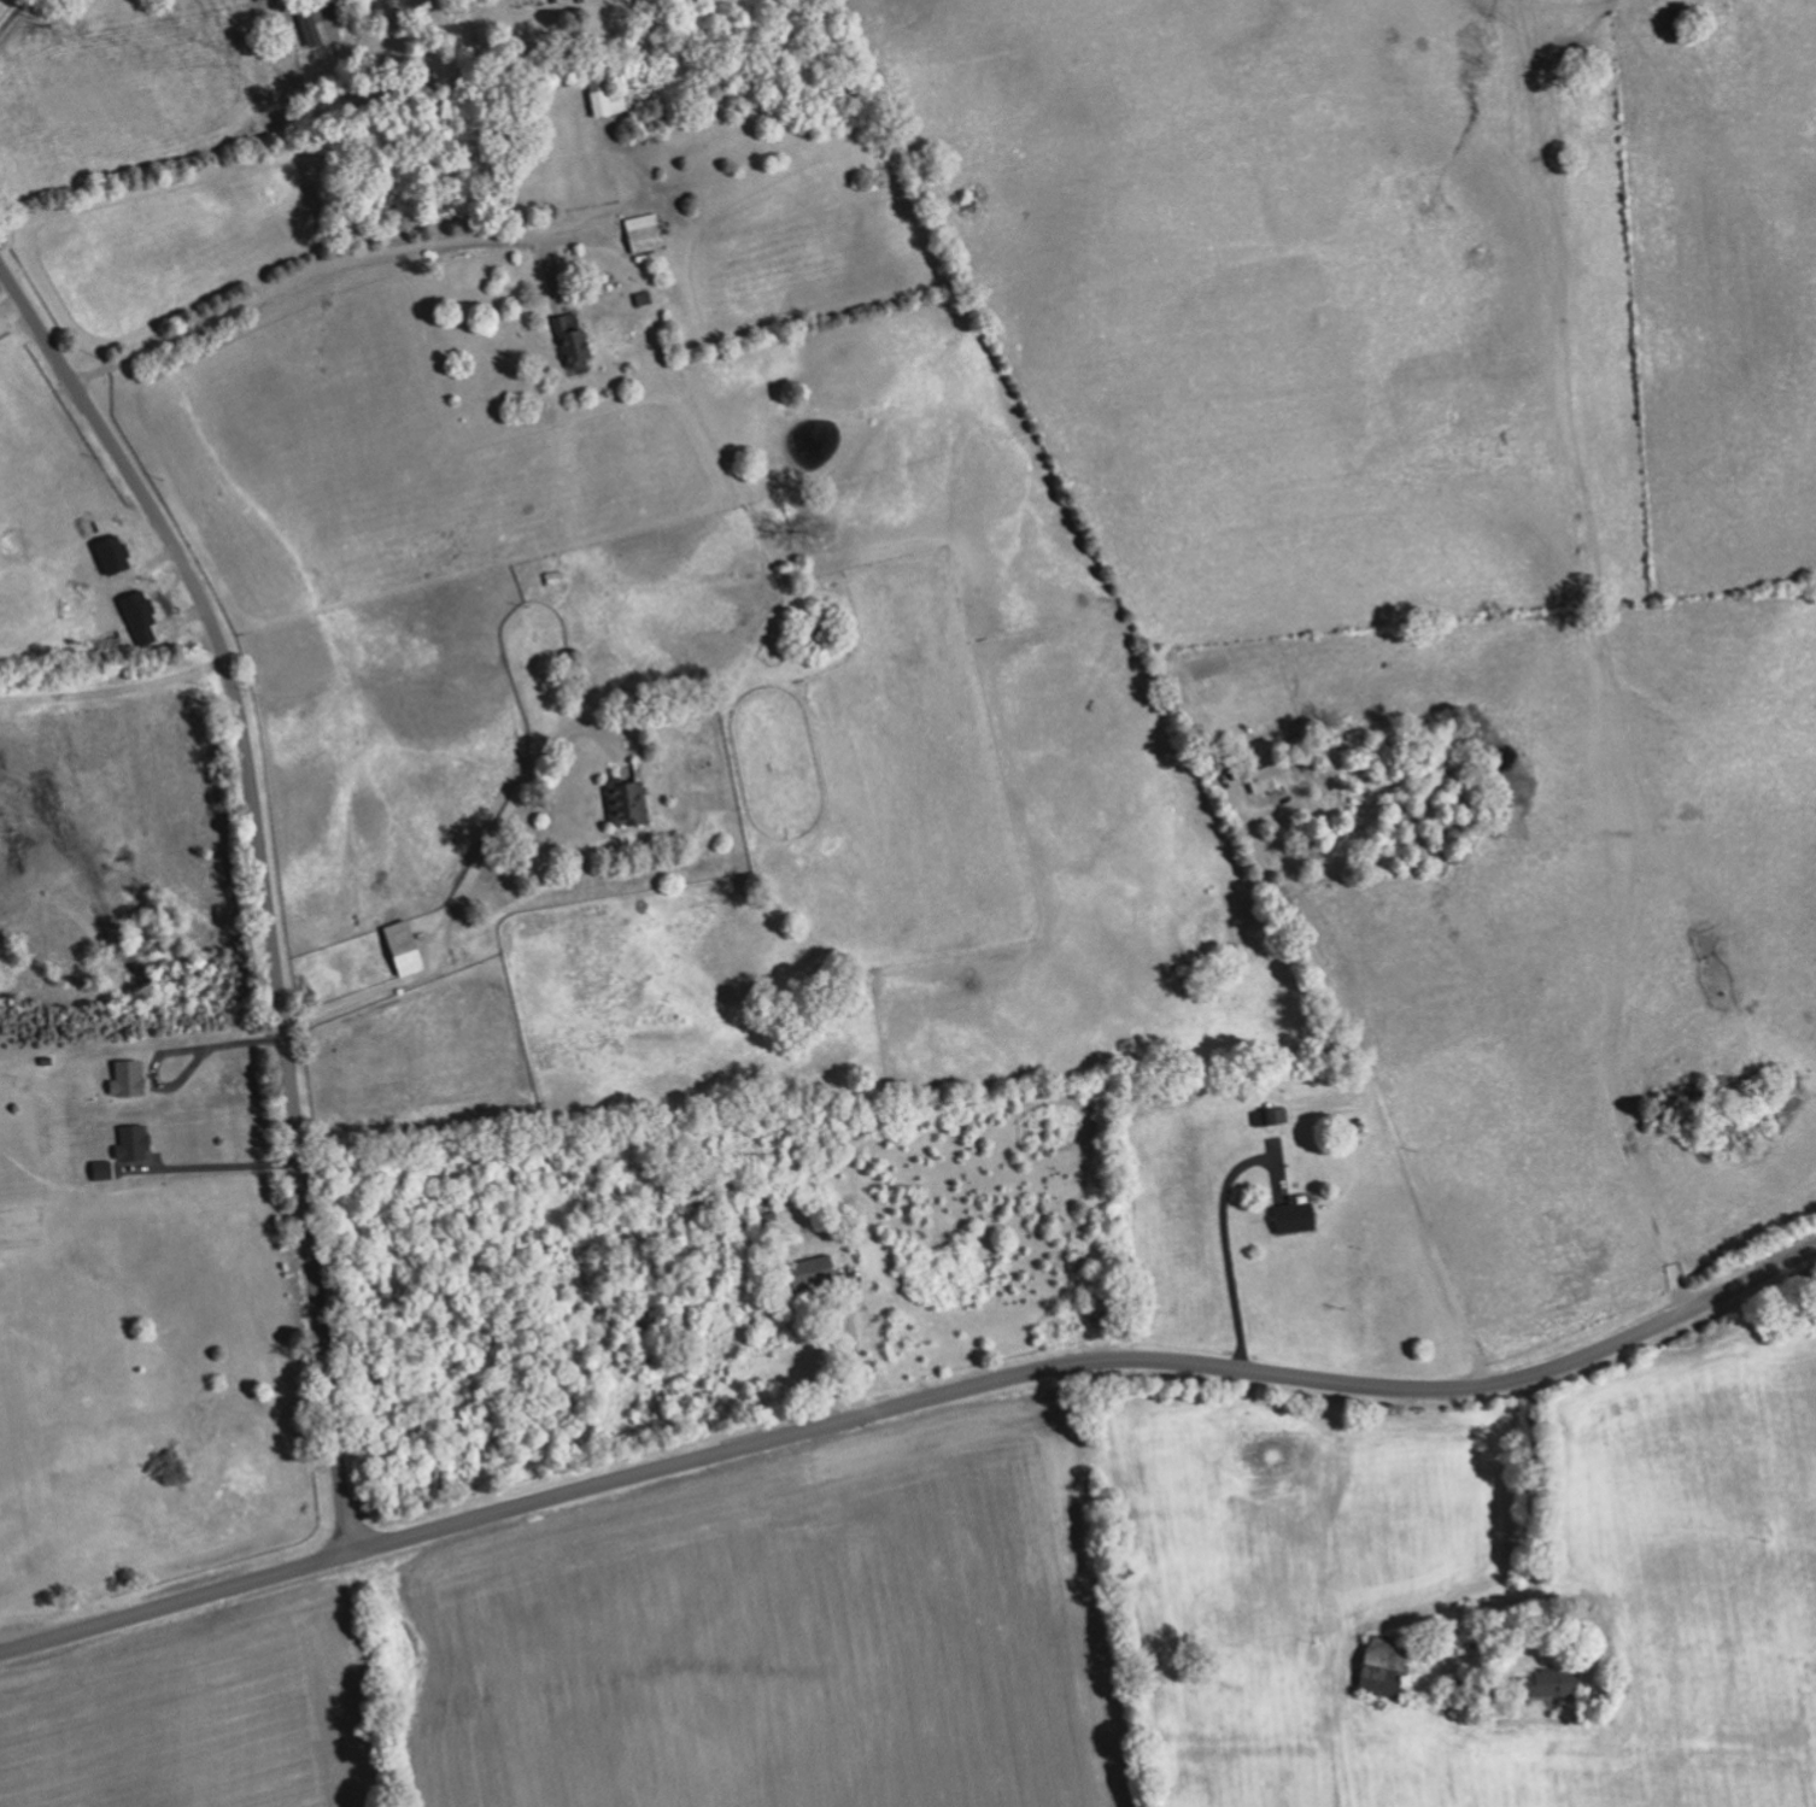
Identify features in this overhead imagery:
road: (12, 16)
building: (320, 22)
building: (608, 96)
building: (646, 233)
road: (328, 264)
road: (10, 304)
building: (574, 339)
building: (1271, 778)
building: (628, 803)
road: (263, 882)
road: (467, 884)
building: (406, 947)
road: (1376, 1091)
building: (1296, 1218)
road: (1225, 1249)
building: (814, 1272)
road: (909, 1409)
building: (1388, 1666)
building: (1550, 1684)

